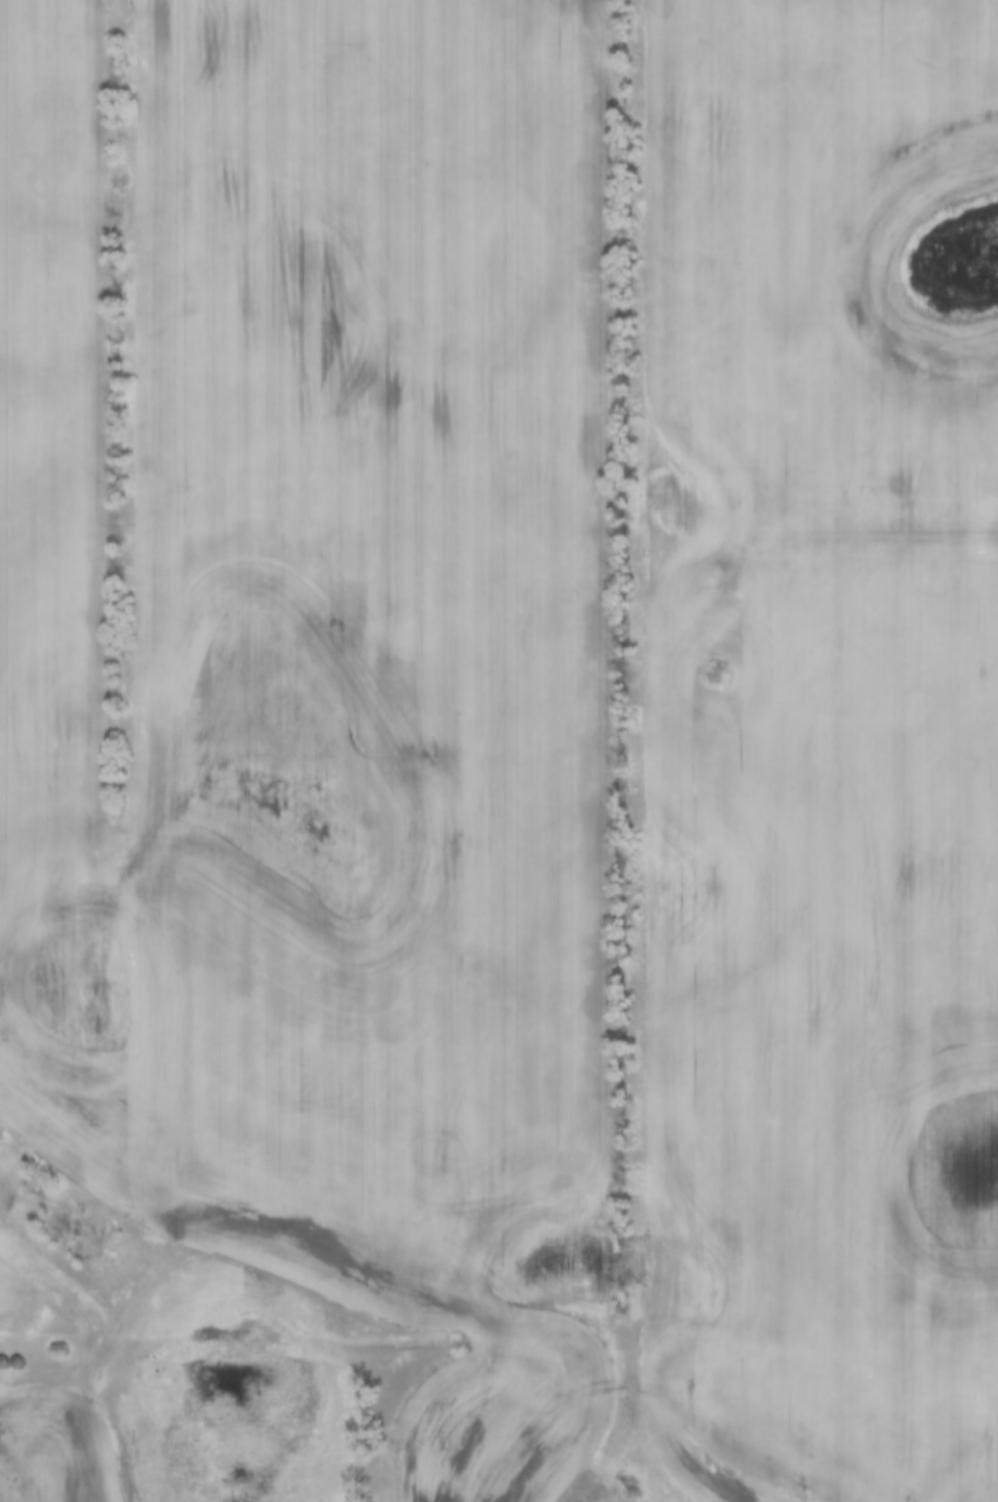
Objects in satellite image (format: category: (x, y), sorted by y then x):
building: (61, 1349)

